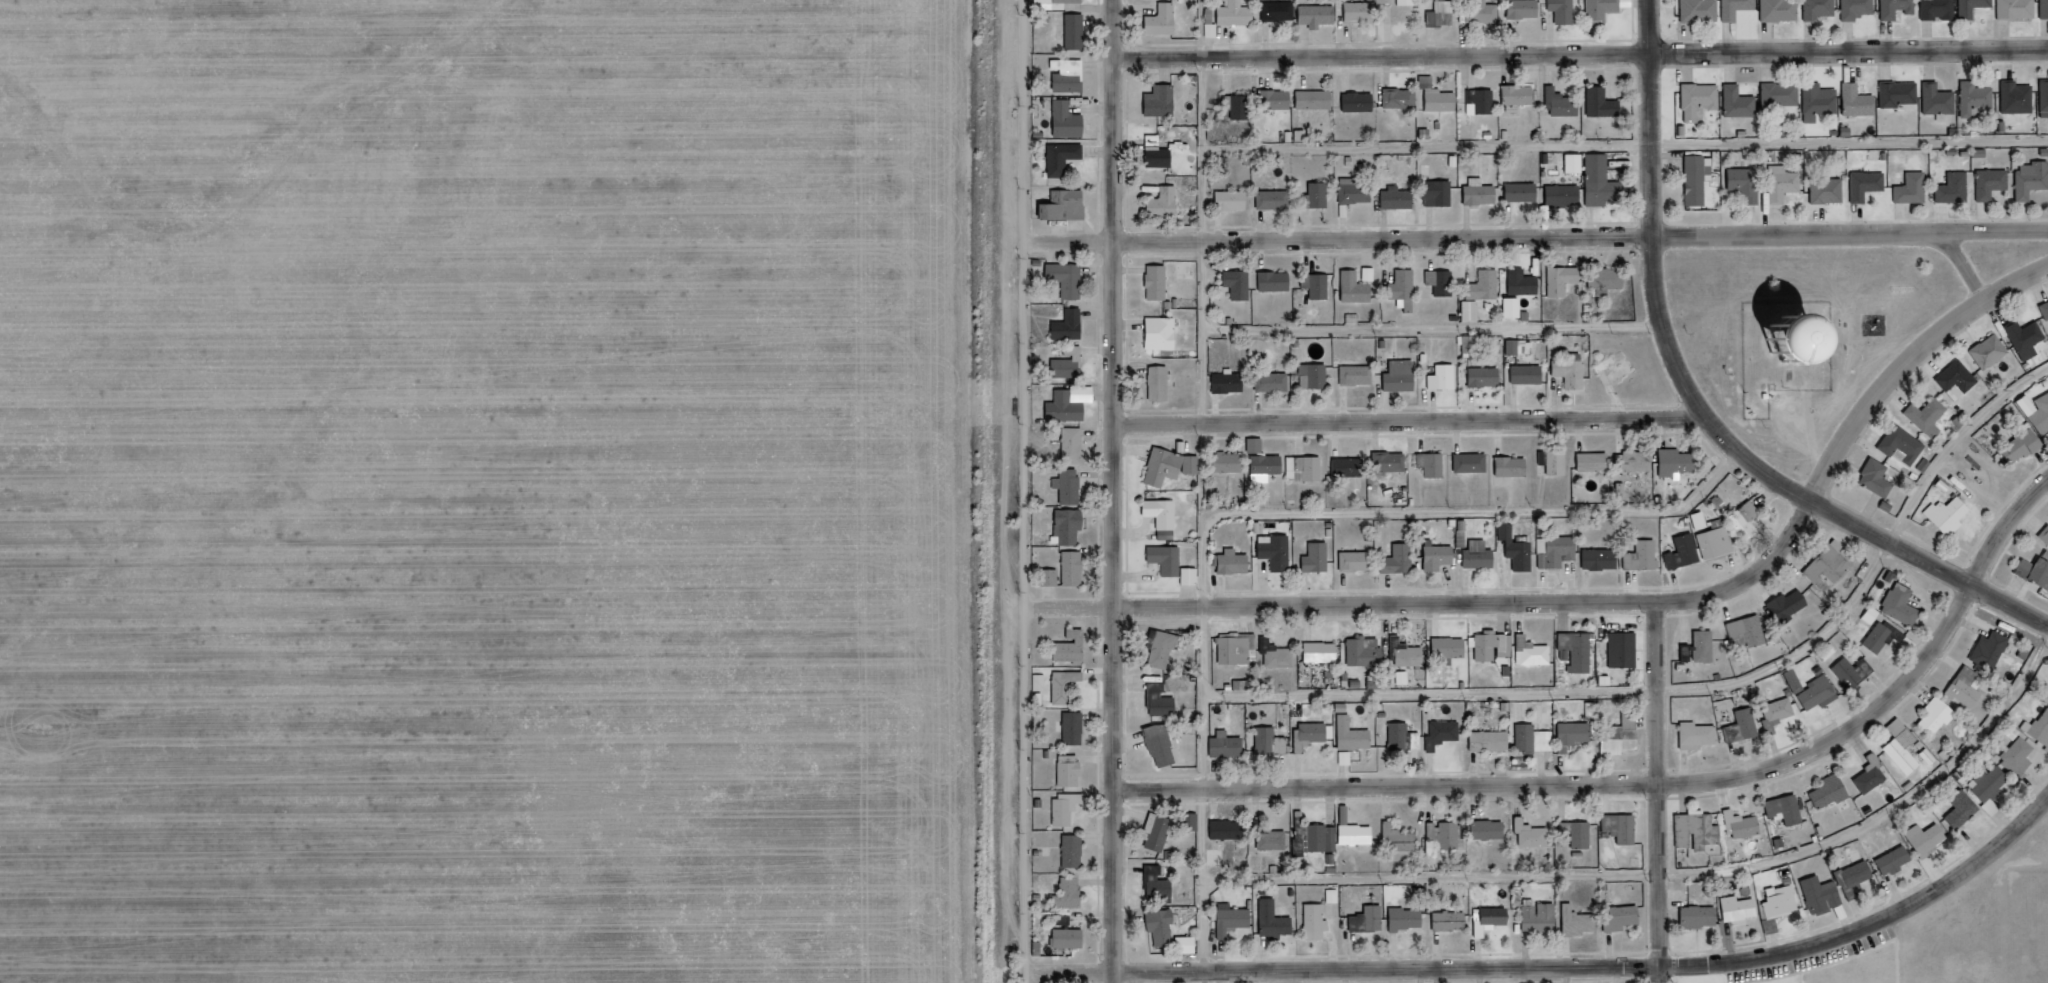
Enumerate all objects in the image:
building: (1409, 2)
building: (1072, 3)
building: (1974, 7)
building: (1526, 8)
building: (1738, 8)
building: (1822, 8)
building: (1860, 8)
building: (1899, 8)
building: (2018, 8)
building: (2045, 8)
building: (1941, 9)
building: (1281, 10)
building: (1603, 10)
building: (1702, 10)
building: (1782, 10)
building: (1363, 11)
building: (1564, 11)
building: (1482, 12)
building: (1239, 13)
building: (1443, 14)
building: (1320, 15)
building: (1165, 24)
building: (1079, 35)
road: (1583, 58)
building: (1072, 80)
building: (1901, 93)
building: (1521, 94)
building: (1781, 94)
building: (1440, 96)
building: (2019, 97)
building: (1401, 98)
building: (1977, 98)
building: (2045, 98)
building: (1278, 99)
building: (1317, 99)
building: (1701, 99)
building: (1361, 101)
building: (1482, 101)
building: (1820, 101)
building: (1859, 101)
building: (1941, 101)
building: (1740, 102)
building: (1563, 103)
building: (1604, 103)
building: (1164, 104)
building: (1239, 105)
building: (1070, 123)
road: (1628, 147)
building: (1067, 162)
building: (1164, 163)
building: (1577, 163)
building: (1602, 181)
building: (2033, 183)
building: (1700, 184)
building: (1786, 188)
building: (1870, 188)
building: (1994, 188)
building: (1748, 189)
building: (1356, 191)
building: (1524, 191)
building: (1439, 192)
building: (1482, 192)
building: (1915, 193)
building: (1957, 193)
building: (1317, 195)
building: (1565, 195)
building: (1830, 195)
building: (1399, 198)
building: (1275, 199)
building: (1234, 200)
building: (1168, 206)
building: (1068, 210)
road: (1583, 240)
road: (1209, 241)
road: (1075, 242)
road: (1971, 269)
building: (1564, 279)
building: (1612, 279)
building: (1277, 281)
building: (1071, 282)
building: (1442, 282)
building: (1524, 282)
building: (1241, 284)
building: (1318, 285)
building: (1486, 285)
building: (1160, 287)
building: (1357, 288)
building: (1406, 289)
building: (1516, 307)
building: (1472, 310)
building: (2046, 312)
building: (1073, 330)
road: (1438, 332)
park: (1806, 336)
building: (1164, 337)
building: (2028, 342)
building: (1472, 344)
building: (1850, 345)
building: (1515, 346)
building: (1775, 347)
water tower: (1775, 347)
building: (1993, 355)
building: (1069, 371)
building: (1573, 372)
building: (1528, 374)
building: (1359, 375)
building: (1315, 376)
building: (1403, 376)
building: (1486, 376)
building: (1445, 377)
building: (1230, 382)
building: (1274, 382)
building: (1960, 384)
building: (1162, 387)
road: (1700, 405)
building: (1068, 413)
road: (1413, 420)
building: (1929, 421)
building: (2042, 421)
building: (1906, 449)
building: (1078, 450)
building: (2023, 451)
building: (1555, 460)
building: (1636, 460)
building: (1230, 461)
building: (1391, 461)
building: (1596, 461)
building: (1678, 461)
building: (1473, 462)
building: (1434, 463)
building: (1269, 466)
building: (1349, 466)
building: (1514, 466)
building: (1308, 467)
building: (1166, 471)
building: (1879, 481)
road: (1033, 491)
road: (1119, 491)
building: (1075, 492)
building: (1165, 516)
road: (1263, 519)
building: (1950, 520)
building: (1746, 521)
building: (1073, 529)
building: (1717, 539)
building: (2045, 539)
building: (1518, 548)
building: (1278, 551)
building: (1558, 551)
building: (1685, 552)
building: (1645, 555)
building: (1440, 556)
building: (1319, 557)
building: (1480, 558)
building: (1603, 558)
building: (1401, 559)
building: (1358, 560)
building: (1234, 562)
building: (1170, 563)
building: (1833, 567)
building: (1077, 573)
building: (2036, 574)
building: (1194, 580)
building: (1055, 581)
building: (1903, 603)
road: (1613, 605)
building: (1790, 608)
building: (1752, 633)
building: (1881, 637)
building: (1494, 645)
building: (1240, 648)
building: (1451, 649)
building: (1625, 649)
building: (1579, 650)
building: (1992, 650)
building: (1075, 651)
building: (1324, 651)
building: (1366, 651)
building: (1535, 651)
building: (1707, 651)
building: (1165, 653)
building: (1279, 653)
building: (1409, 653)
building: (1854, 671)
building: (1044, 686)
building: (1970, 687)
building: (1069, 689)
building: (1816, 690)
road: (1699, 692)
building: (1163, 704)
building: (1781, 712)
building: (1939, 716)
building: (1745, 726)
building: (1077, 732)
building: (2038, 732)
building: (1445, 733)
building: (1312, 734)
building: (1355, 734)
building: (1575, 734)
building: (1400, 735)
building: (1623, 735)
building: (1699, 735)
building: (1535, 739)
building: (1492, 740)
building: (1271, 741)
building: (1227, 744)
building: (1905, 746)
building: (1165, 751)
building: (1347, 757)
building: (2021, 762)
building: (1073, 775)
building: (1873, 775)
road: (1647, 786)
building: (1993, 788)
building: (1832, 791)
road: (1663, 793)
building: (1788, 809)
building: (1070, 812)
building: (1964, 813)
building: (1745, 824)
building: (1192, 825)
building: (1623, 827)
building: (1229, 829)
building: (1490, 829)
building: (1699, 830)
building: (1580, 832)
building: (1160, 834)
building: (1357, 834)
building: (1447, 834)
building: (1534, 834)
building: (1315, 838)
building: (1399, 838)
building: (1273, 840)
building: (1928, 843)
building: (1076, 855)
building: (1896, 864)
road: (1672, 878)
building: (1860, 878)
building: (1160, 886)
building: (1824, 898)
building: (1337, 899)
building: (1070, 900)
building: (1784, 906)
building: (1740, 913)
building: (1496, 919)
building: (1624, 921)
building: (1700, 921)
building: (1409, 922)
building: (1542, 922)
building: (1235, 923)
building: (1371, 923)
building: (1277, 924)
building: (1319, 925)
building: (1452, 925)
building: (1580, 925)
building: (1164, 929)
building: (1072, 942)
building: (1189, 949)
road: (1564, 970)

